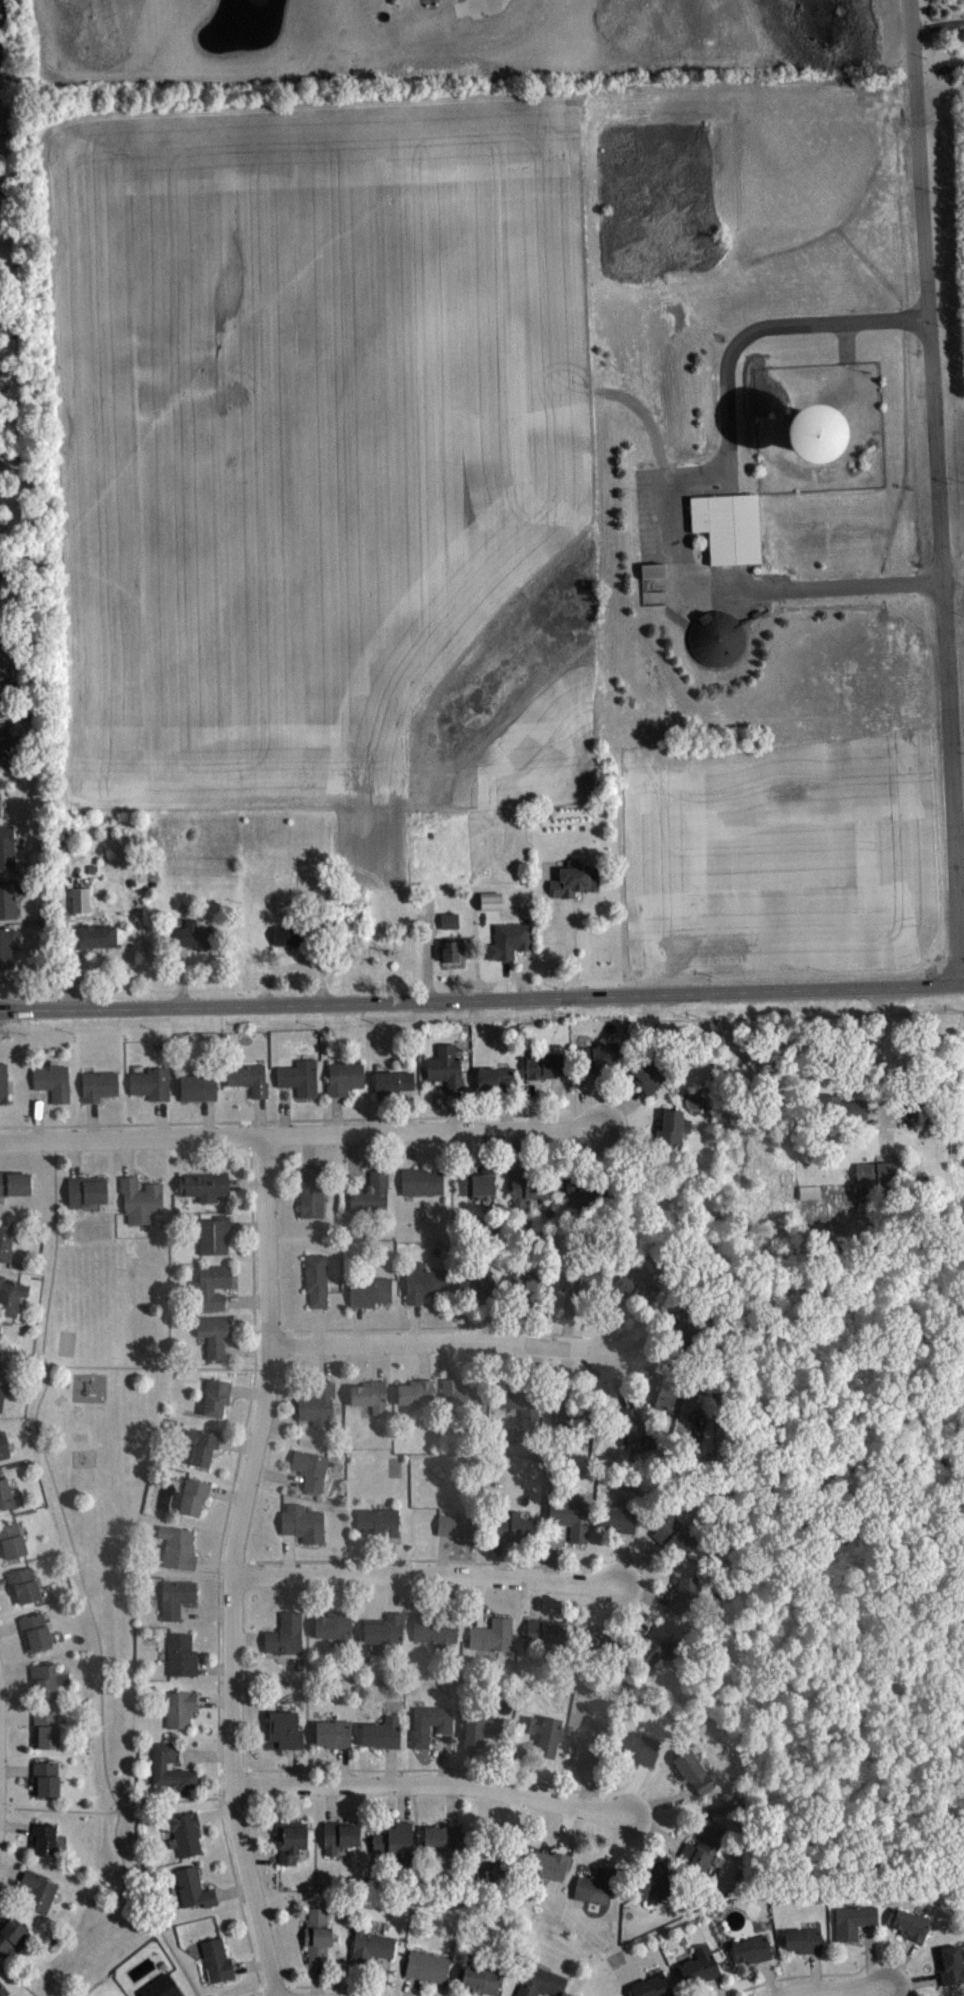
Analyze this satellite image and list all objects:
road: (938, 25)
road: (6, 192)
road: (846, 341)
water tower: (811, 431)
building: (814, 434)
crop: (324, 457)
road: (678, 478)
road: (937, 490)
building: (728, 525)
building: (656, 573)
building: (1, 582)
building: (716, 637)
building: (1, 694)
building: (4, 743)
building: (1, 801)
building: (6, 845)
crop: (785, 860)
building: (574, 879)
building: (7, 899)
building: (80, 899)
building: (489, 900)
building: (452, 923)
building: (94, 935)
building: (191, 935)
building: (286, 935)
building: (513, 943)
road: (568, 946)
building: (6, 947)
building: (449, 950)
road: (497, 957)
road: (293, 964)
road: (182, 979)
road: (71, 982)
road: (482, 998)
road: (877, 1047)
building: (597, 1057)
building: (543, 1065)
building: (445, 1070)
building: (646, 1077)
building: (299, 1078)
building: (343, 1078)
building: (496, 1078)
building: (247, 1080)
building: (392, 1081)
building: (52, 1083)
building: (3, 1084)
building: (150, 1085)
building: (98, 1086)
building: (197, 1089)
building: (842, 1106)
road: (270, 1119)
building: (672, 1130)
road: (302, 1134)
building: (884, 1175)
building: (15, 1182)
building: (420, 1183)
building: (477, 1184)
building: (203, 1187)
building: (527, 1190)
building: (808, 1190)
building: (84, 1193)
building: (310, 1194)
building: (369, 1195)
building: (582, 1196)
building: (140, 1202)
building: (865, 1205)
building: (213, 1236)
building: (6, 1242)
building: (315, 1280)
building: (423, 1282)
building: (583, 1283)
building: (527, 1286)
building: (209, 1287)
building: (638, 1287)
building: (477, 1289)
building: (369, 1292)
building: (10, 1296)
road: (436, 1325)
building: (683, 1330)
building: (212, 1333)
park: (67, 1341)
road: (441, 1341)
road: (158, 1368)
building: (0, 1386)
building: (668, 1390)
building: (415, 1393)
building: (369, 1396)
building: (214, 1398)
building: (461, 1399)
building: (522, 1400)
building: (317, 1405)
building: (569, 1414)
building: (629, 1429)
building: (3, 1444)
building: (200, 1446)
building: (310, 1469)
building: (5, 1496)
building: (191, 1497)
building: (569, 1517)
building: (617, 1520)
building: (378, 1523)
building: (303, 1525)
building: (457, 1527)
building: (511, 1528)
park: (105, 1533)
building: (674, 1537)
building: (10, 1542)
building: (177, 1549)
road: (408, 1558)
road: (233, 1565)
road: (218, 1569)
road: (471, 1575)
road: (82, 1579)
building: (22, 1586)
building: (686, 1596)
building: (174, 1598)
building: (332, 1626)
building: (436, 1630)
building: (382, 1632)
building: (34, 1633)
building: (284, 1634)
building: (544, 1634)
building: (492, 1636)
building: (656, 1647)
building: (593, 1648)
building: (180, 1656)
building: (42, 1682)
building: (178, 1710)
building: (428, 1723)
building: (285, 1729)
building: (44, 1730)
building: (480, 1732)
building: (332, 1733)
building: (379, 1733)
building: (543, 1735)
building: (639, 1748)
building: (586, 1752)
building: (158, 1765)
road: (425, 1768)
building: (694, 1773)
building: (44, 1781)
road: (477, 1784)
road: (117, 1809)
building: (184, 1832)
building: (443, 1836)
building: (337, 1838)
building: (393, 1839)
building: (291, 1840)
building: (44, 1841)
building: (706, 1847)
building: (495, 1859)
building: (547, 1863)
building: (652, 1883)
building: (596, 1886)
building: (194, 1888)
building: (37, 1891)
building: (852, 1922)
building: (911, 1926)
building: (316, 1935)
building: (11, 1936)
building: (803, 1940)
building: (750, 1949)
building: (369, 1950)
building: (216, 1962)
building: (699, 1965)
building: (951, 1967)
building: (427, 1968)
road: (890, 1970)
road: (795, 1975)
building: (481, 1978)
building: (540, 1981)
road: (330, 1985)
building: (160, 1987)
building: (652, 1987)
building: (2, 1988)
road: (817, 1989)
road: (856, 1992)
road: (870, 1992)
road: (488, 1994)
road: (901, 1995)

